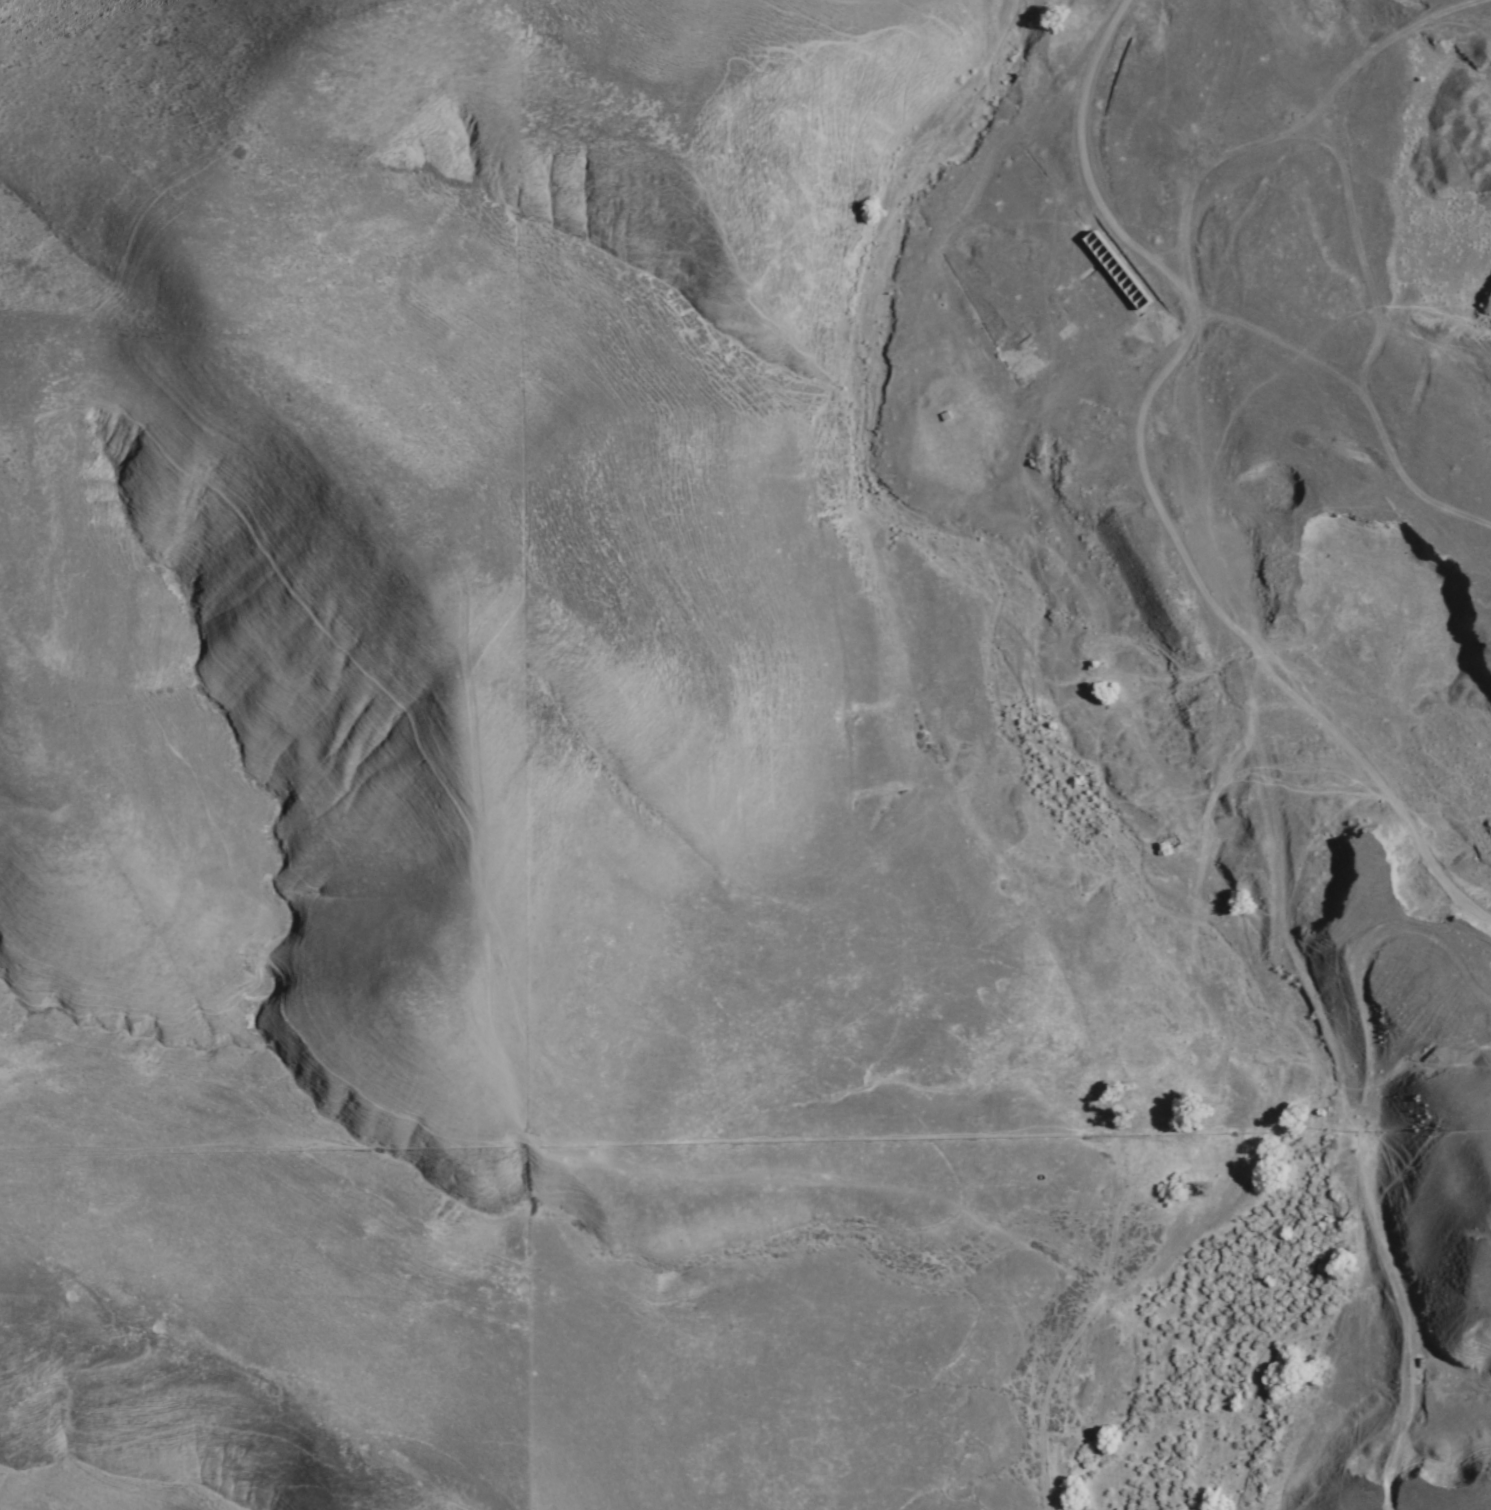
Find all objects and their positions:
road: (1285, 123)
building: (1119, 269)
building: (1097, 296)
road: (1172, 358)
road: (1341, 1099)
road: (1163, 1116)

